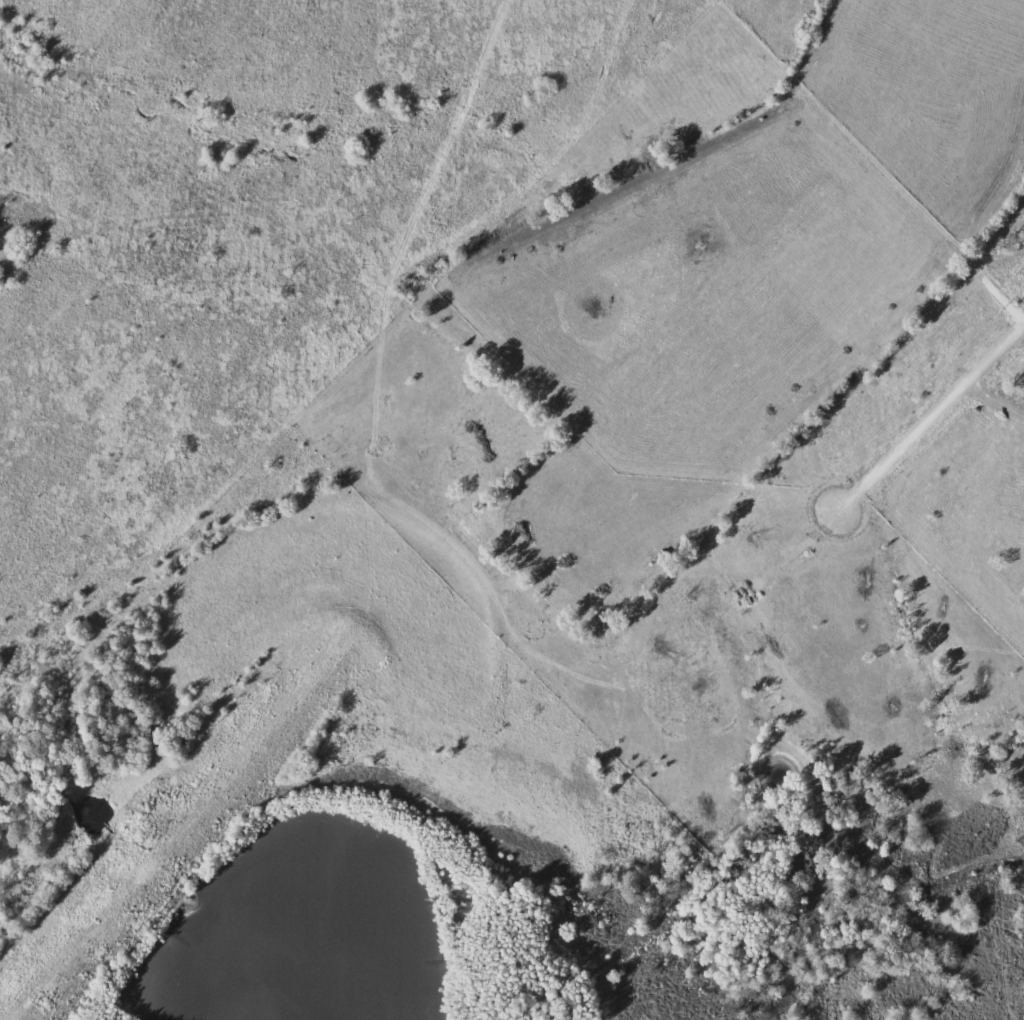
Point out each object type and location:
road: (888, 305)

